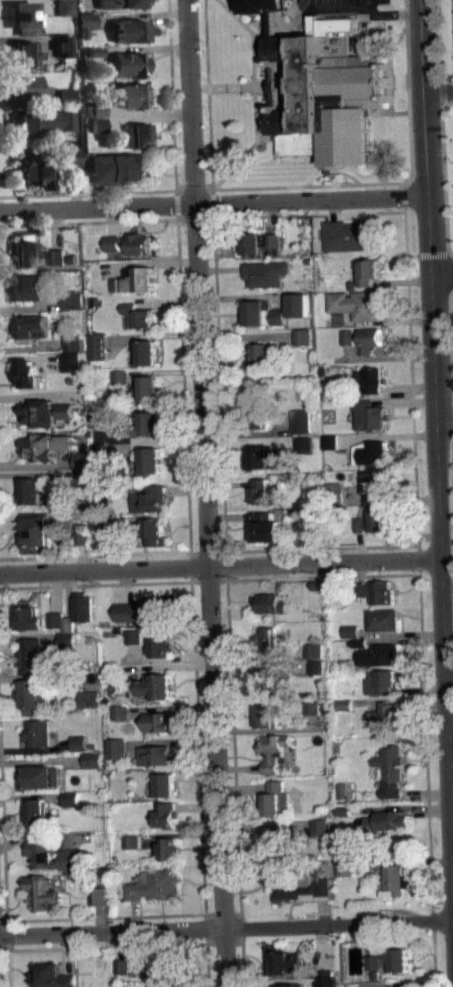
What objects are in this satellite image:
building: (119, 3)
parking lot: (342, 3)
building: (64, 7)
road: (233, 8)
building: (265, 10)
road: (389, 15)
building: (24, 17)
building: (84, 22)
parking lot: (451, 29)
building: (130, 30)
building: (63, 43)
building: (92, 50)
building: (21, 54)
building: (93, 57)
building: (127, 63)
road: (389, 67)
road: (399, 80)
road: (231, 87)
building: (22, 88)
building: (131, 94)
road: (255, 94)
building: (66, 95)
building: (322, 95)
road: (422, 97)
road: (408, 103)
building: (95, 108)
road: (389, 113)
building: (41, 121)
building: (95, 124)
road: (442, 126)
road: (209, 134)
building: (134, 135)
building: (70, 156)
building: (33, 168)
building: (118, 168)
road: (331, 169)
road: (313, 177)
road: (382, 179)
road: (174, 182)
road: (185, 189)
road: (404, 196)
road: (212, 202)
road: (176, 211)
road: (308, 214)
road: (88, 221)
road: (426, 233)
building: (354, 234)
building: (259, 242)
building: (130, 243)
road: (427, 253)
building: (25, 254)
building: (57, 256)
building: (72, 258)
building: (367, 271)
road: (440, 271)
road: (449, 271)
building: (265, 273)
building: (135, 280)
building: (26, 286)
building: (71, 299)
building: (298, 304)
building: (358, 304)
building: (263, 313)
building: (139, 315)
building: (31, 328)
road: (451, 332)
building: (302, 337)
building: (362, 338)
building: (73, 341)
building: (348, 343)
building: (97, 346)
building: (147, 352)
building: (263, 355)
building: (71, 361)
road: (182, 367)
building: (28, 374)
building: (120, 376)
building: (370, 379)
road: (411, 380)
building: (121, 383)
building: (148, 387)
building: (259, 405)
road: (220, 410)
building: (46, 412)
building: (368, 414)
building: (103, 418)
road: (443, 423)
building: (149, 424)
building: (303, 426)
building: (329, 442)
building: (303, 444)
building: (46, 446)
building: (100, 450)
building: (371, 453)
building: (263, 457)
building: (100, 458)
building: (82, 460)
building: (152, 461)
road: (451, 468)
building: (79, 477)
building: (377, 482)
building: (333, 488)
building: (34, 491)
building: (262, 491)
road: (205, 493)
building: (150, 499)
building: (372, 522)
building: (110, 526)
building: (266, 529)
building: (37, 531)
building: (156, 532)
building: (112, 534)
building: (83, 535)
building: (85, 545)
road: (313, 547)
road: (95, 554)
road: (191, 558)
road: (226, 558)
road: (418, 558)
road: (219, 566)
road: (439, 571)
road: (316, 577)
road: (96, 584)
building: (316, 585)
building: (375, 591)
road: (447, 593)
building: (270, 603)
building: (83, 606)
building: (141, 610)
building: (30, 617)
building: (381, 619)
building: (56, 620)
building: (69, 623)
building: (349, 631)
building: (348, 638)
building: (67, 640)
building: (149, 641)
building: (267, 641)
building: (356, 643)
building: (314, 650)
building: (377, 654)
building: (32, 655)
building: (317, 657)
building: (316, 667)
building: (380, 681)
building: (275, 682)
building: (149, 686)
building: (34, 694)
building: (89, 699)
building: (343, 704)
building: (311, 707)
building: (343, 711)
building: (119, 713)
building: (266, 715)
building: (388, 716)
building: (158, 721)
building: (164, 729)
road: (197, 730)
building: (37, 732)
road: (425, 739)
building: (78, 742)
building: (115, 748)
building: (79, 749)
building: (273, 751)
building: (153, 755)
road: (235, 755)
road: (450, 755)
building: (91, 760)
building: (390, 770)
building: (39, 776)
building: (164, 784)
building: (342, 790)
building: (70, 798)
building: (276, 799)
building: (71, 806)
building: (342, 811)
building: (35, 812)
building: (167, 815)
building: (389, 819)
building: (320, 826)
building: (131, 841)
building: (284, 841)
road: (3, 844)
building: (167, 848)
building: (133, 849)
building: (51, 855)
building: (345, 867)
building: (395, 880)
building: (153, 884)
building: (299, 888)
building: (44, 892)
building: (98, 896)
road: (91, 917)
road: (205, 920)
road: (433, 920)
road: (3, 921)
road: (226, 926)
road: (107, 946)
road: (207, 947)
road: (243, 949)
road: (434, 958)
building: (283, 960)
building: (390, 961)
road: (7, 964)
building: (121, 966)
building: (162, 968)
building: (121, 974)
building: (52, 976)
building: (170, 984)
building: (288, 985)

